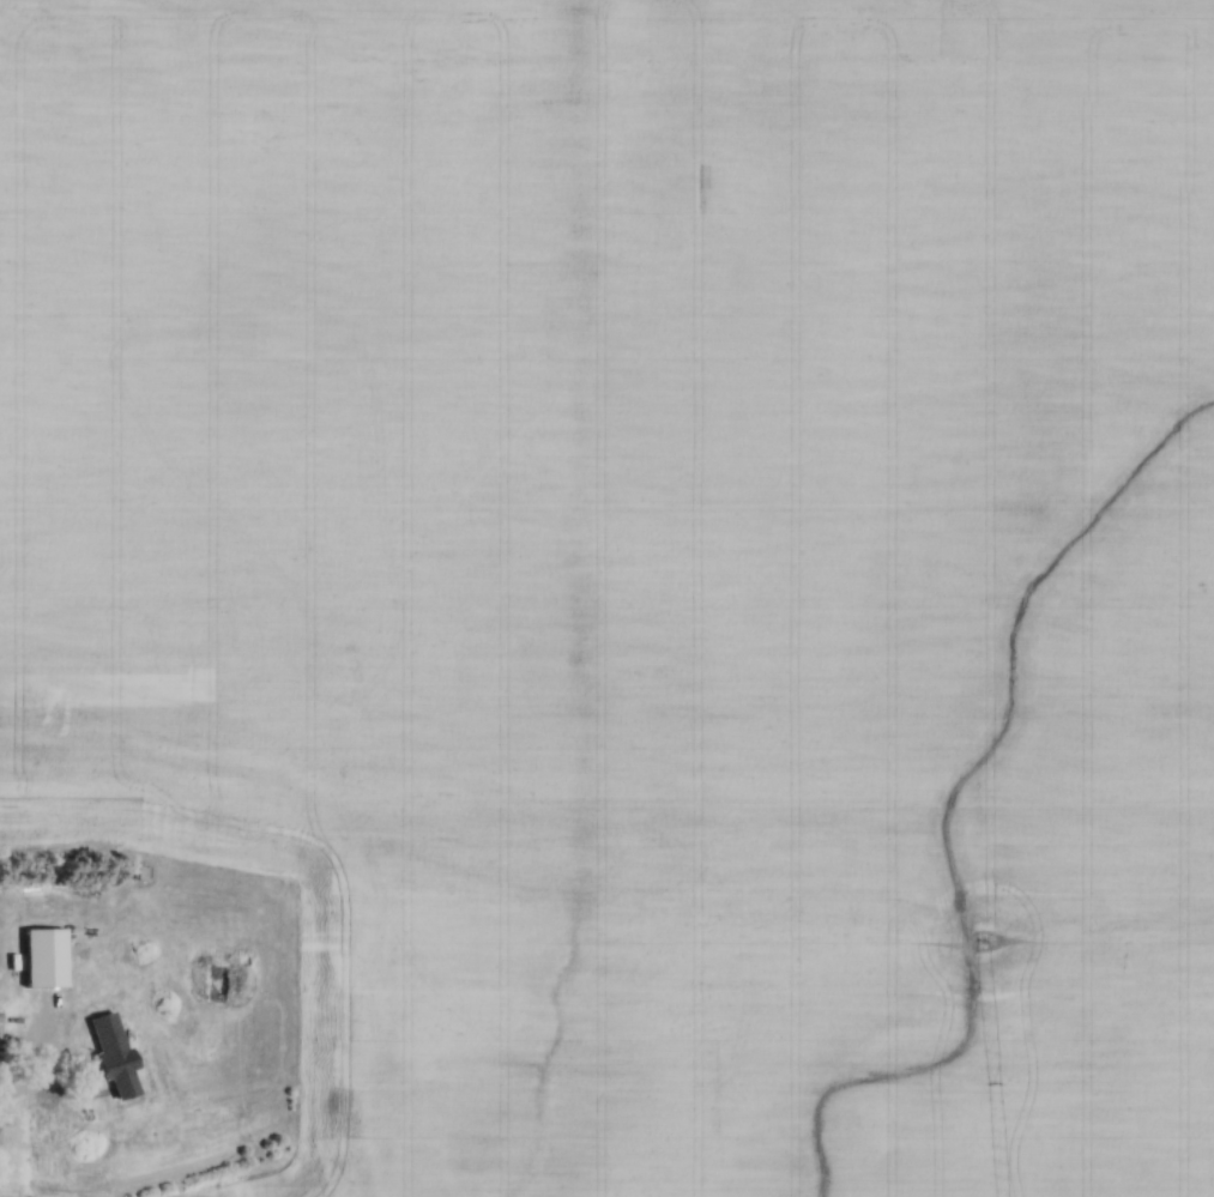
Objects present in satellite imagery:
building: (47, 955)
building: (117, 1030)
building: (0, 1136)
building: (44, 1136)

